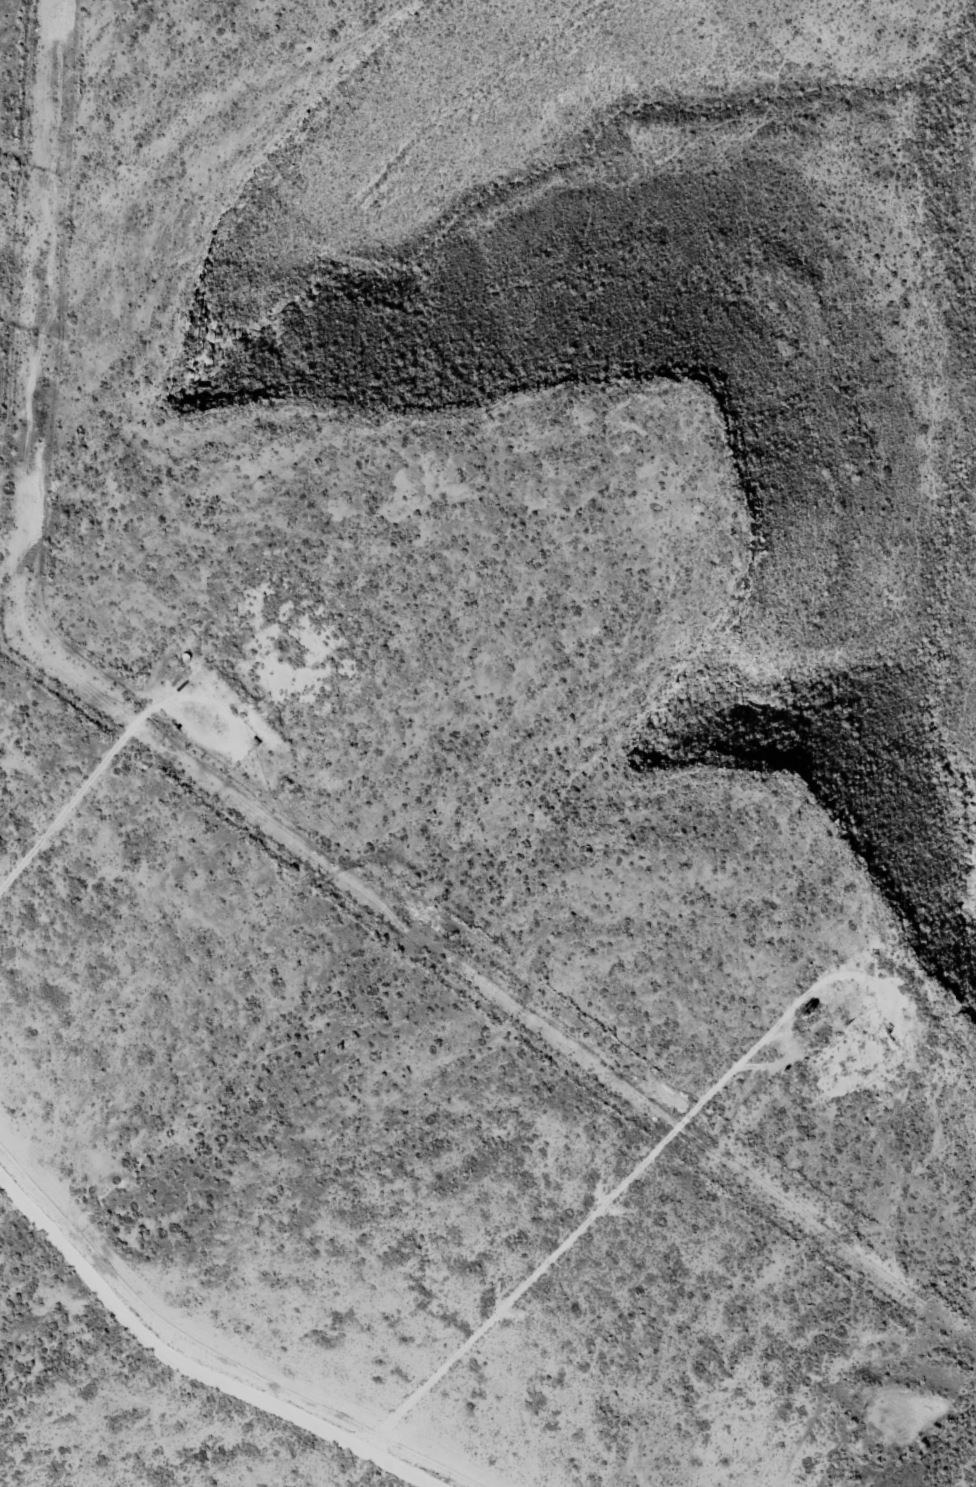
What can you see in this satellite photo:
road: (172, 1325)

